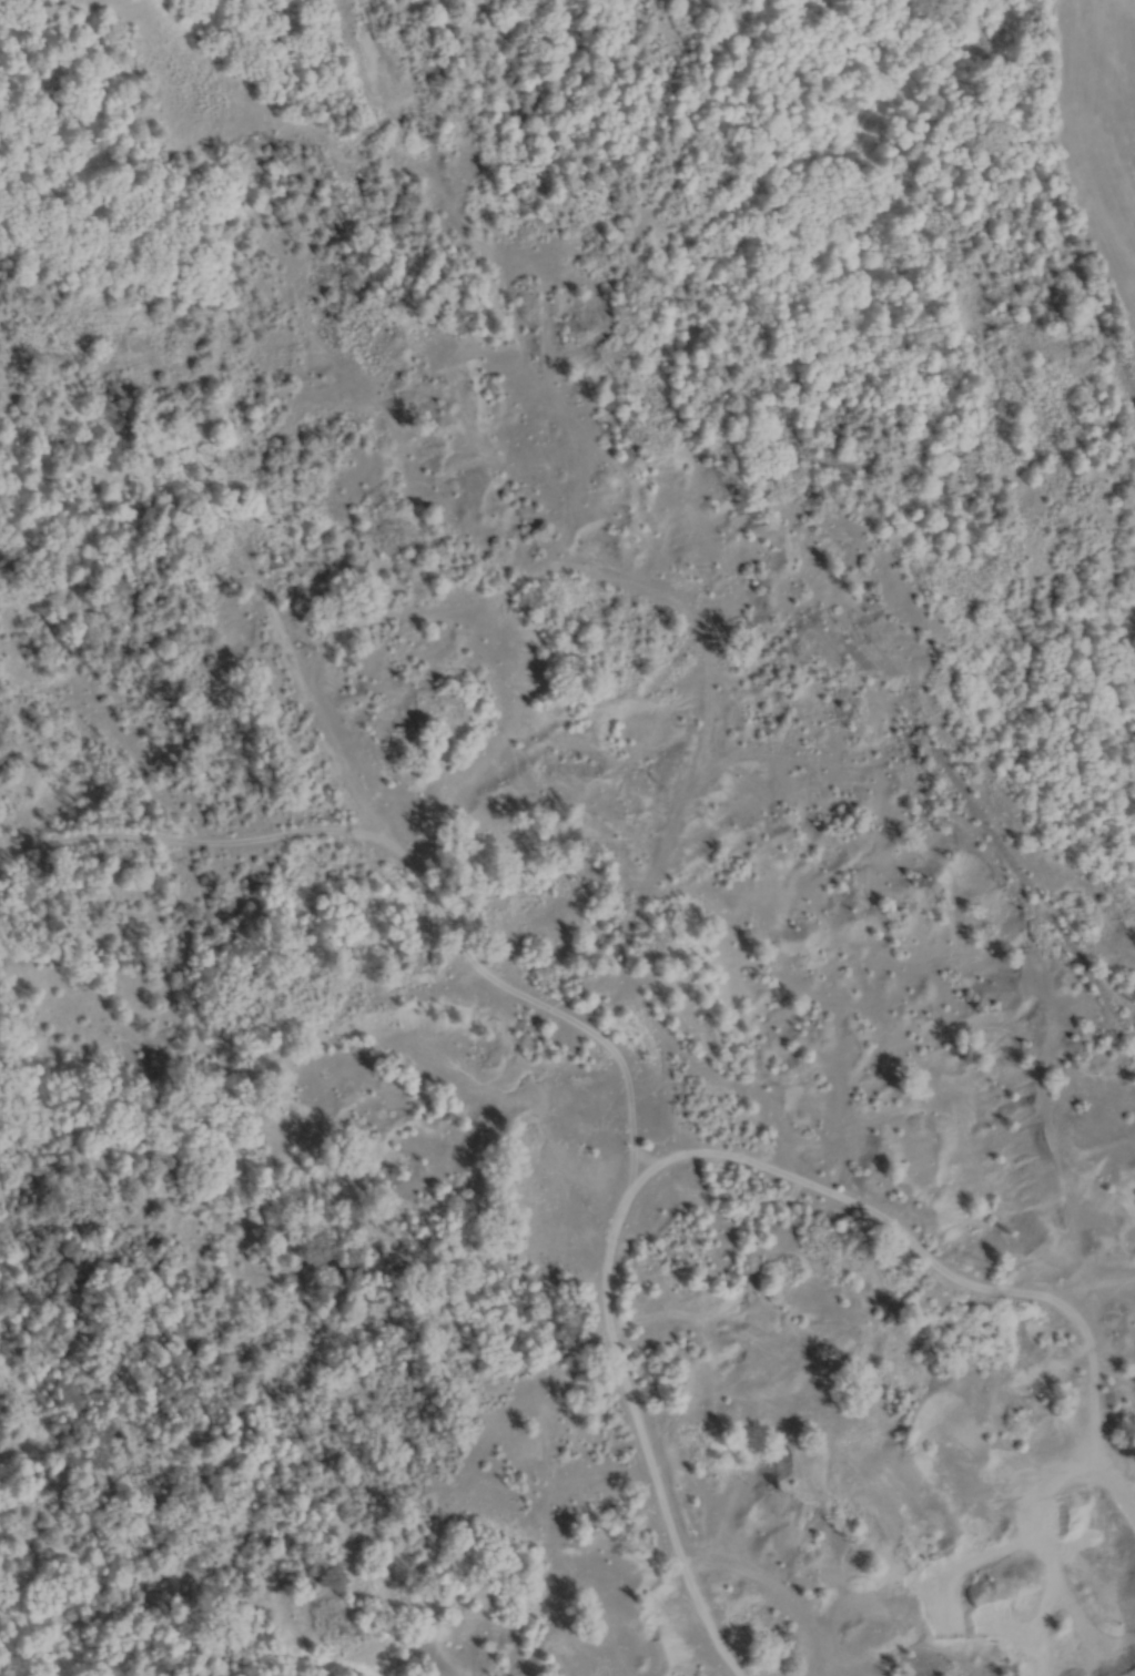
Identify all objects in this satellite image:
road: (1131, 1517)

